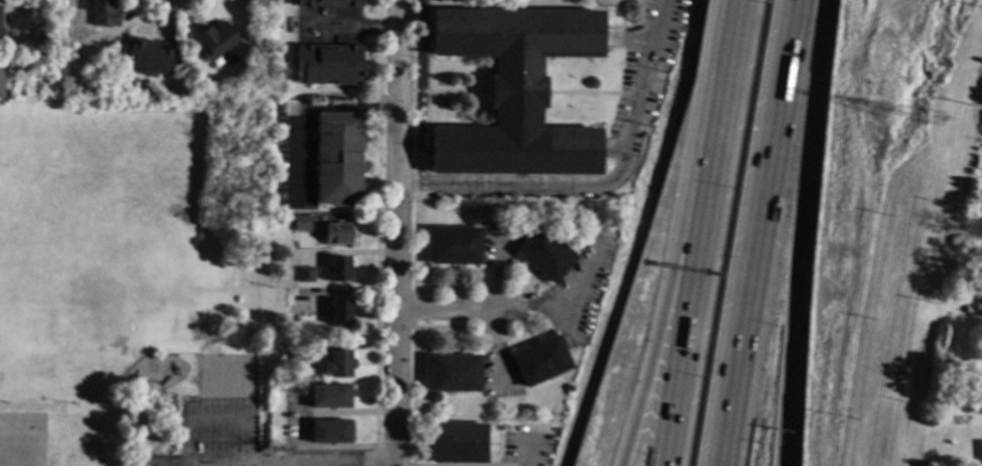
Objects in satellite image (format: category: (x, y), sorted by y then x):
building: (328, 3)
building: (0, 13)
building: (103, 13)
road: (737, 26)
road: (351, 29)
building: (2, 37)
building: (215, 40)
building: (146, 58)
building: (327, 64)
building: (1, 78)
building: (101, 82)
building: (137, 88)
building: (515, 92)
road: (297, 109)
power tower: (880, 114)
power tower: (934, 124)
building: (981, 128)
building: (338, 159)
road: (603, 184)
building: (981, 201)
building: (301, 224)
building: (979, 227)
road: (398, 232)
road: (759, 232)
road: (800, 232)
building: (335, 234)
building: (455, 246)
building: (545, 254)
road: (676, 257)
road: (700, 259)
building: (339, 270)
building: (304, 275)
road: (563, 299)
building: (981, 301)
building: (298, 302)
road: (446, 312)
building: (339, 313)
building: (300, 353)
building: (540, 361)
building: (338, 364)
building: (454, 373)
road: (247, 375)
building: (569, 389)
building: (329, 397)
road: (215, 418)
building: (329, 432)
building: (458, 443)
building: (981, 451)
road: (268, 461)
road: (245, 464)

